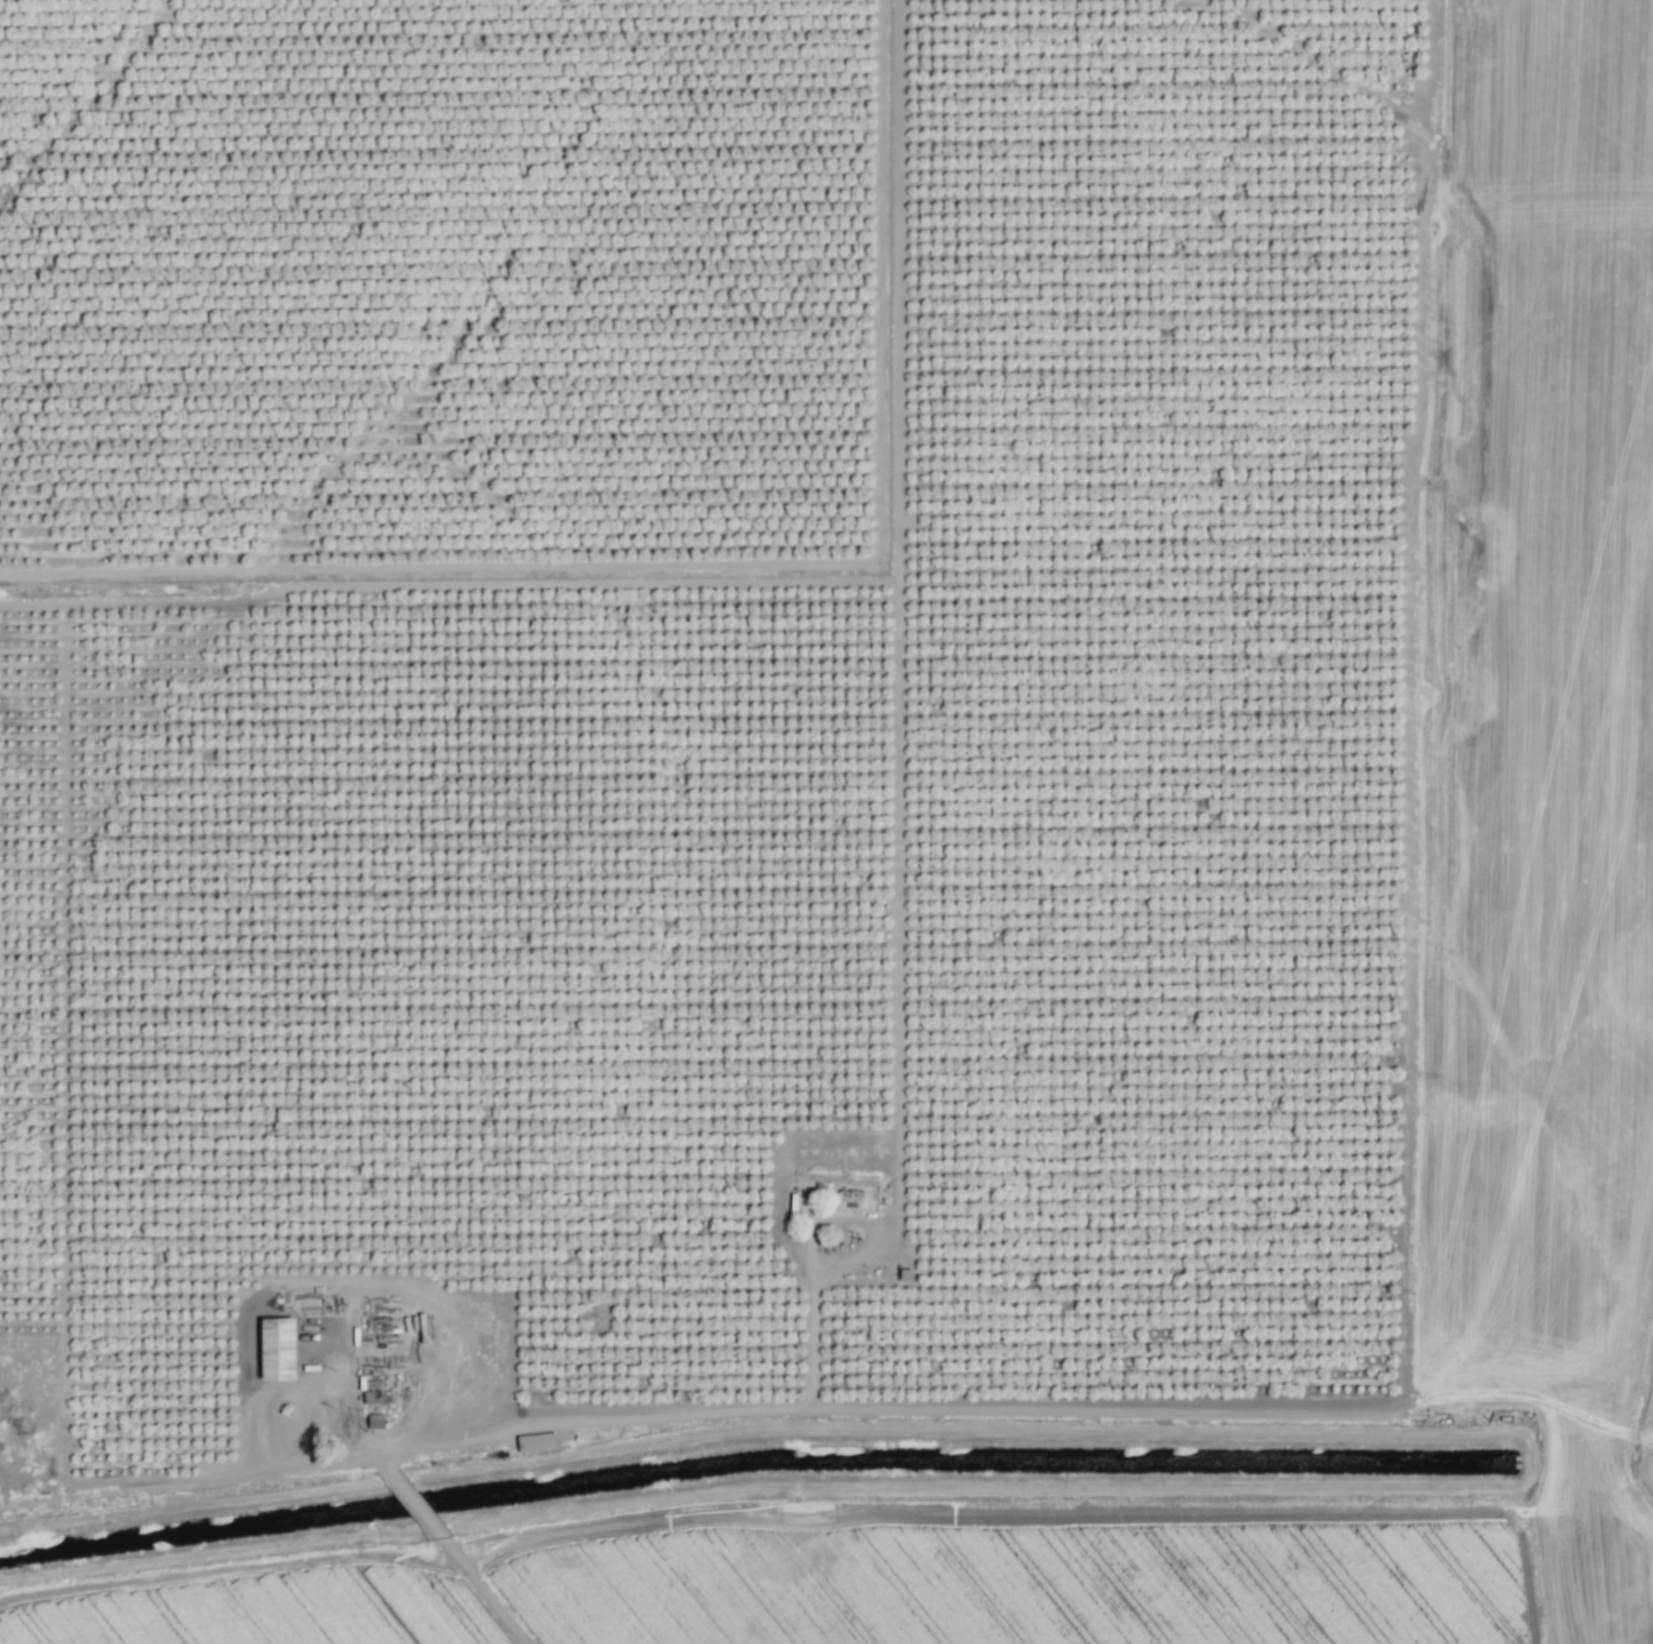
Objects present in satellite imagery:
building: (257, 1343)
building: (375, 1399)
building: (376, 1423)
road: (392, 1473)
road: (419, 1507)
road: (479, 1586)

